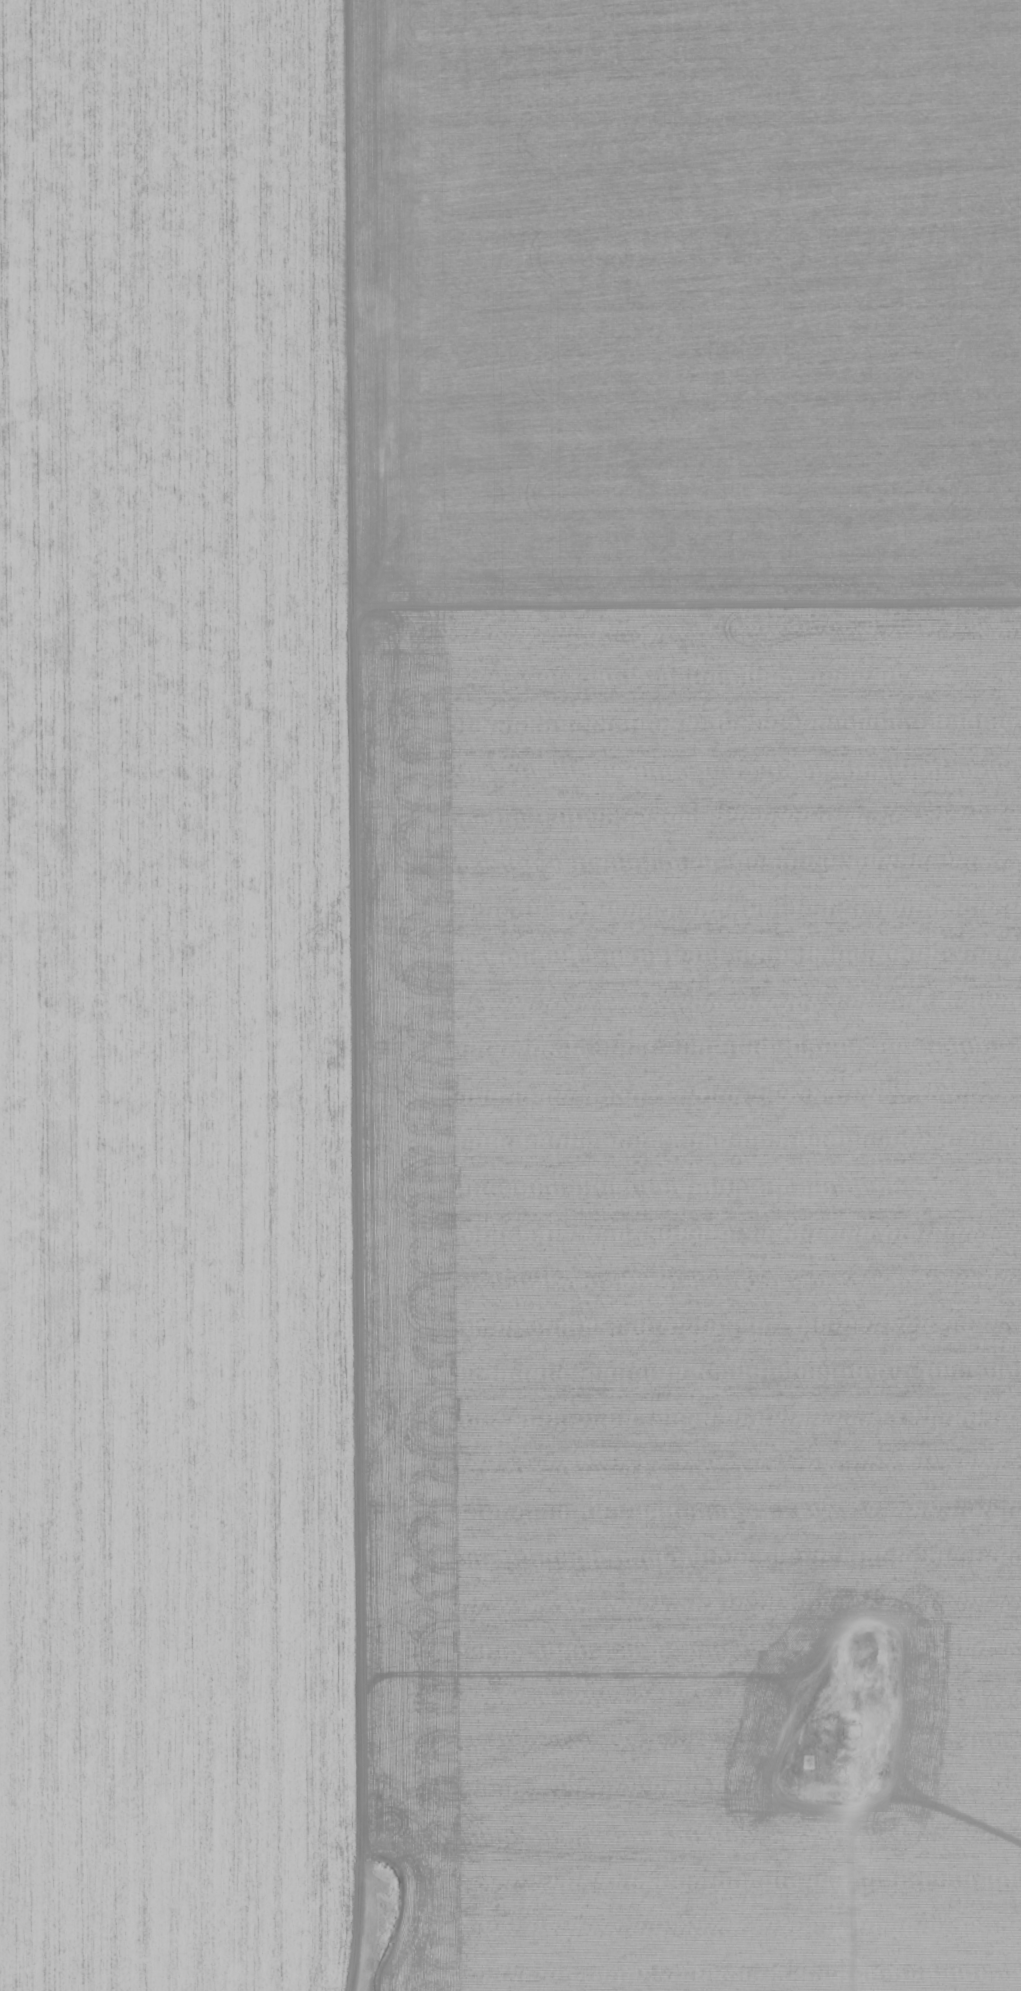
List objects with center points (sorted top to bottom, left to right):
building: (866, 1649)
building: (854, 1731)
building: (823, 1748)

